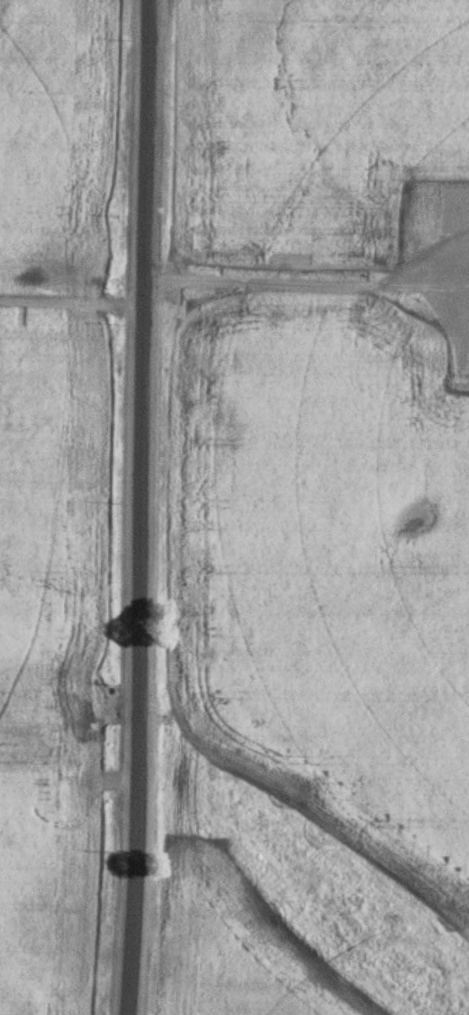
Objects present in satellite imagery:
road: (308, 281)
road: (72, 303)
road: (142, 507)

